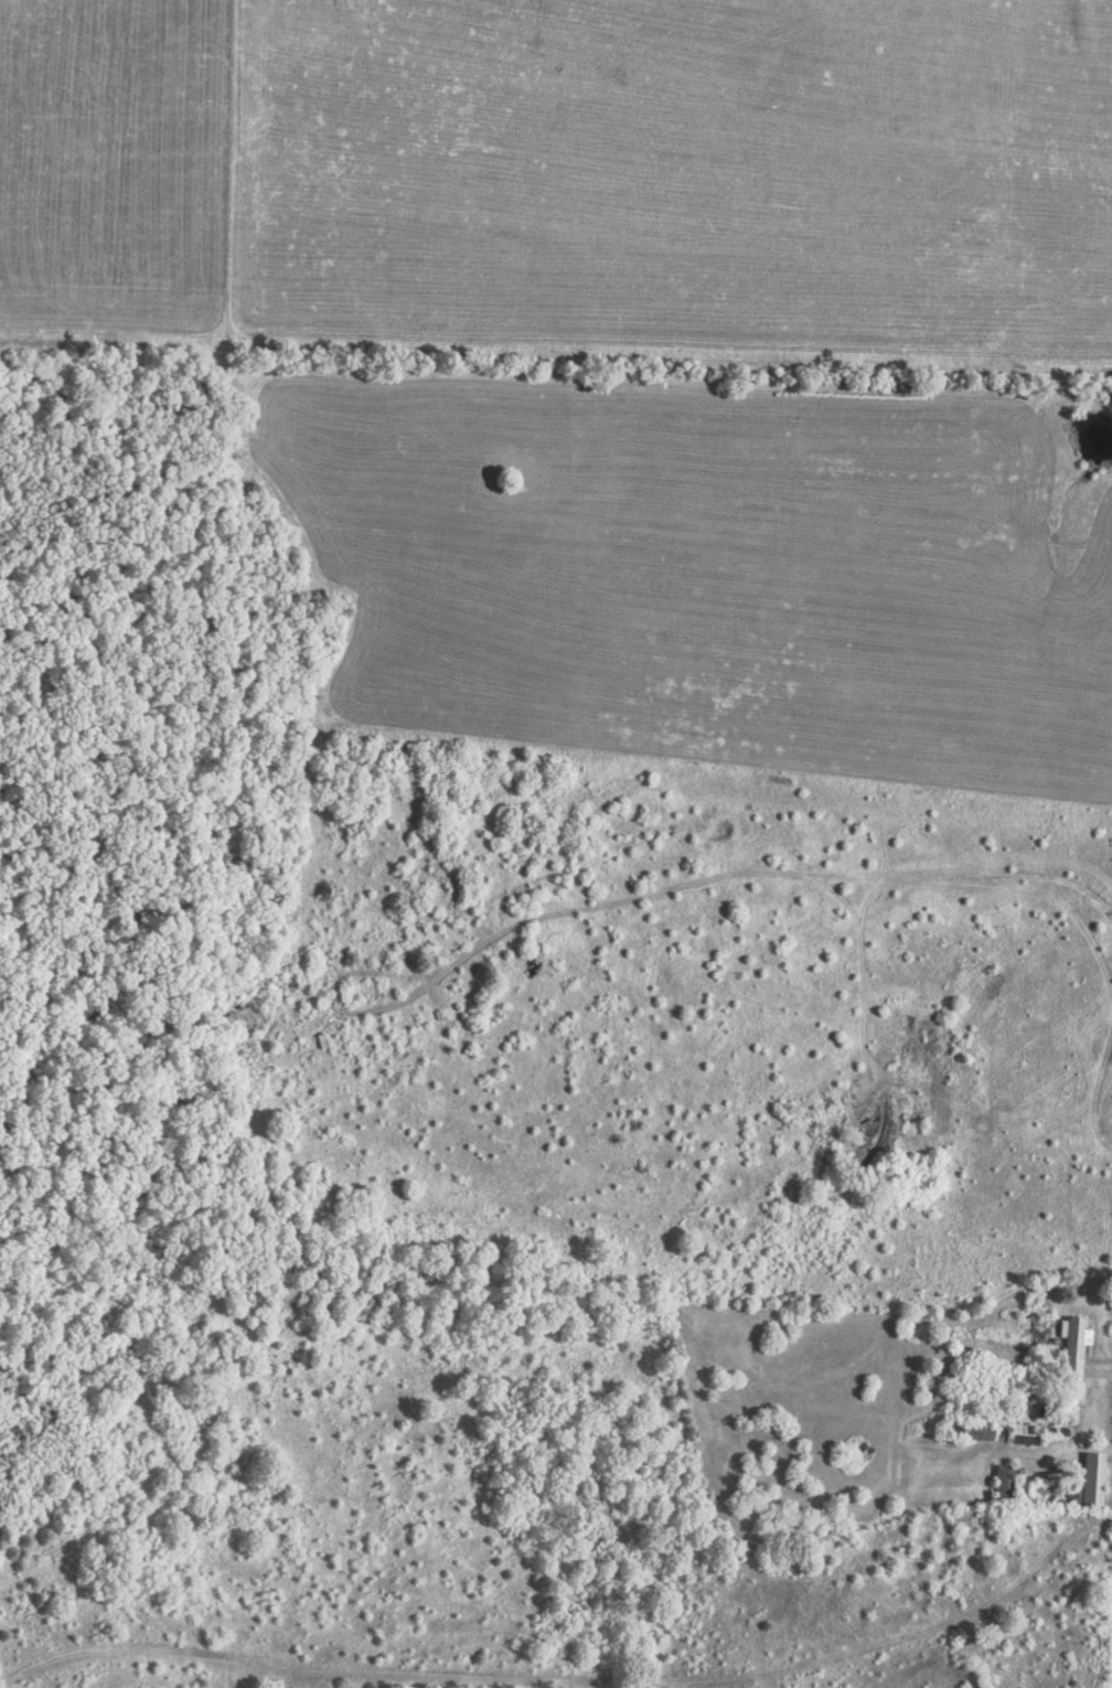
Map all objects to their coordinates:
building: (1070, 1357)
building: (997, 1399)
building: (964, 1432)
building: (1020, 1434)
building: (1089, 1481)
building: (1001, 1482)
building: (1067, 1494)

